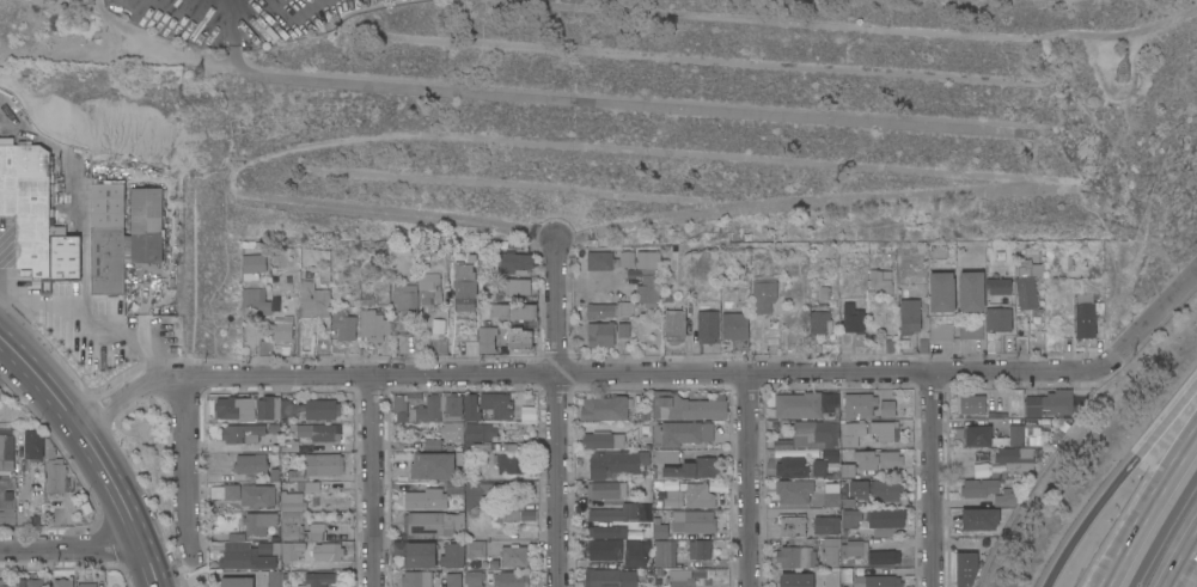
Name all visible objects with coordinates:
road: (224, 2)
road: (582, 102)
building: (5, 140)
building: (26, 209)
building: (145, 227)
building: (108, 238)
building: (671, 256)
building: (65, 257)
building: (627, 258)
building: (648, 259)
building: (515, 261)
building: (599, 261)
building: (255, 263)
building: (881, 280)
building: (1027, 282)
building: (464, 283)
building: (517, 286)
building: (1000, 286)
building: (430, 288)
building: (648, 289)
building: (971, 291)
building: (829, 292)
building: (942, 292)
building: (764, 294)
building: (314, 298)
building: (407, 300)
building: (255, 301)
building: (610, 310)
building: (514, 311)
building: (673, 314)
building: (1086, 314)
building: (910, 316)
road: (93, 317)
building: (853, 318)
building: (823, 319)
building: (998, 319)
road: (1147, 320)
building: (344, 324)
building: (707, 324)
building: (374, 325)
building: (646, 326)
building: (282, 329)
building: (735, 329)
building: (971, 329)
building: (623, 330)
building: (941, 331)
building: (600, 334)
building: (503, 338)
building: (323, 346)
building: (264, 348)
road: (581, 375)
building: (398, 403)
building: (971, 403)
building: (1050, 403)
building: (805, 404)
building: (859, 404)
building: (495, 405)
building: (685, 406)
building: (236, 408)
building: (273, 408)
building: (470, 408)
building: (604, 408)
building: (887, 408)
building: (319, 409)
building: (440, 409)
road: (557, 414)
building: (273, 429)
building: (317, 432)
building: (451, 432)
building: (977, 432)
building: (242, 433)
building: (682, 433)
building: (814, 434)
building: (866, 434)
building: (478, 436)
building: (1034, 436)
building: (601, 439)
building: (29, 444)
building: (288, 446)
building: (508, 447)
building: (263, 448)
road: (94, 451)
building: (6, 452)
building: (665, 455)
building: (1015, 458)
building: (875, 459)
building: (513, 463)
building: (615, 463)
building: (824, 463)
building: (249, 464)
building: (326, 464)
building: (433, 465)
road: (185, 466)
building: (695, 467)
building: (790, 467)
building: (291, 469)
building: (979, 470)
building: (847, 471)
building: (55, 475)
building: (273, 475)
road: (1116, 479)
road: (747, 481)
road: (928, 481)
road: (373, 482)
building: (979, 487)
building: (454, 489)
building: (606, 489)
building: (873, 489)
building: (794, 491)
building: (245, 494)
building: (830, 494)
building: (698, 495)
building: (670, 497)
building: (1006, 497)
building: (425, 500)
building: (499, 500)
building: (292, 501)
building: (845, 503)
road: (1150, 510)
building: (615, 513)
building: (851, 518)
building: (981, 519)
building: (694, 520)
building: (885, 521)
building: (432, 522)
building: (255, 524)
building: (792, 525)
building: (826, 525)
building: (297, 527)
building: (660, 528)
building: (604, 532)
building: (855, 546)
road: (69, 548)
building: (267, 548)
building: (476, 549)
building: (603, 549)
building: (700, 549)
building: (289, 551)
building: (330, 551)
building: (829, 551)
building: (636, 552)
building: (665, 552)
building: (798, 552)
building: (420, 555)
building: (452, 555)
building: (514, 556)
building: (885, 558)
building: (237, 560)
building: (966, 568)
building: (880, 570)
road: (1190, 574)
building: (611, 577)
building: (831, 577)
building: (274, 579)
building: (316, 579)
building: (415, 579)
building: (472, 579)
building: (511, 579)
building: (678, 579)
building: (451, 580)
building: (795, 580)
building: (877, 581)
building: (6, 582)
building: (35, 582)
building: (61, 582)
building: (236, 582)
building: (86, 585)

